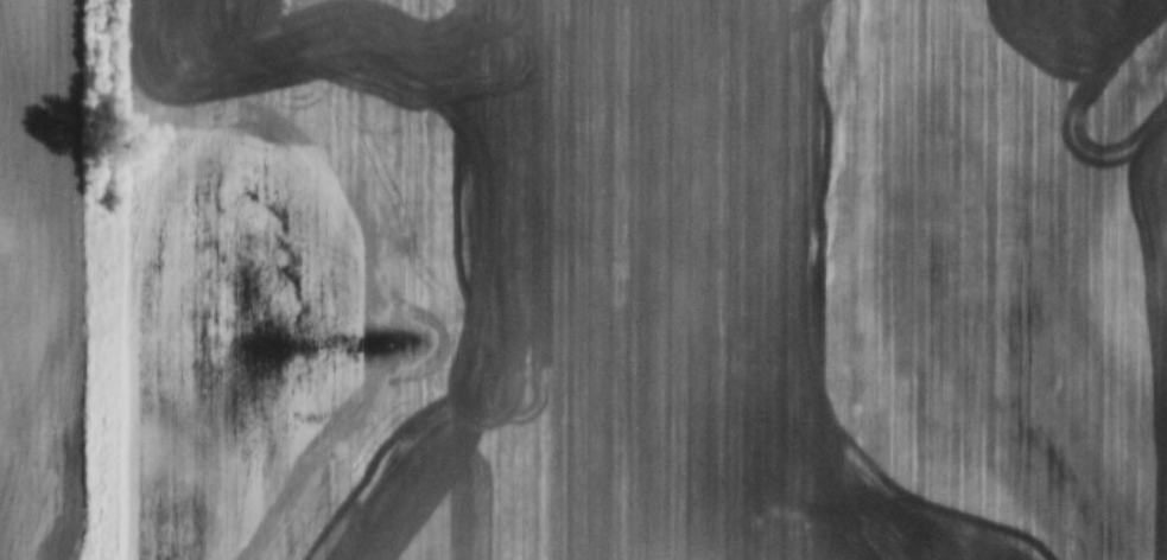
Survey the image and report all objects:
road: (103, 279)

